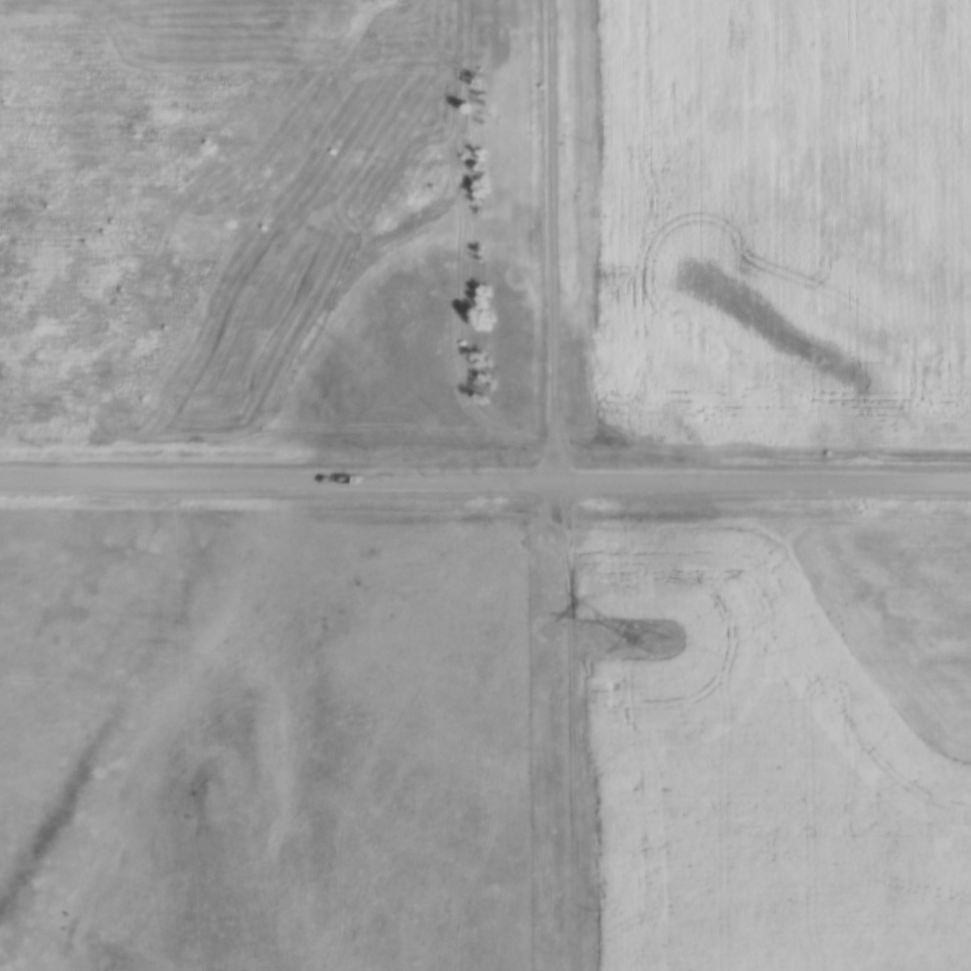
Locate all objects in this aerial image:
road: (549, 239)
road: (485, 478)
power tower: (657, 638)
road: (558, 724)

